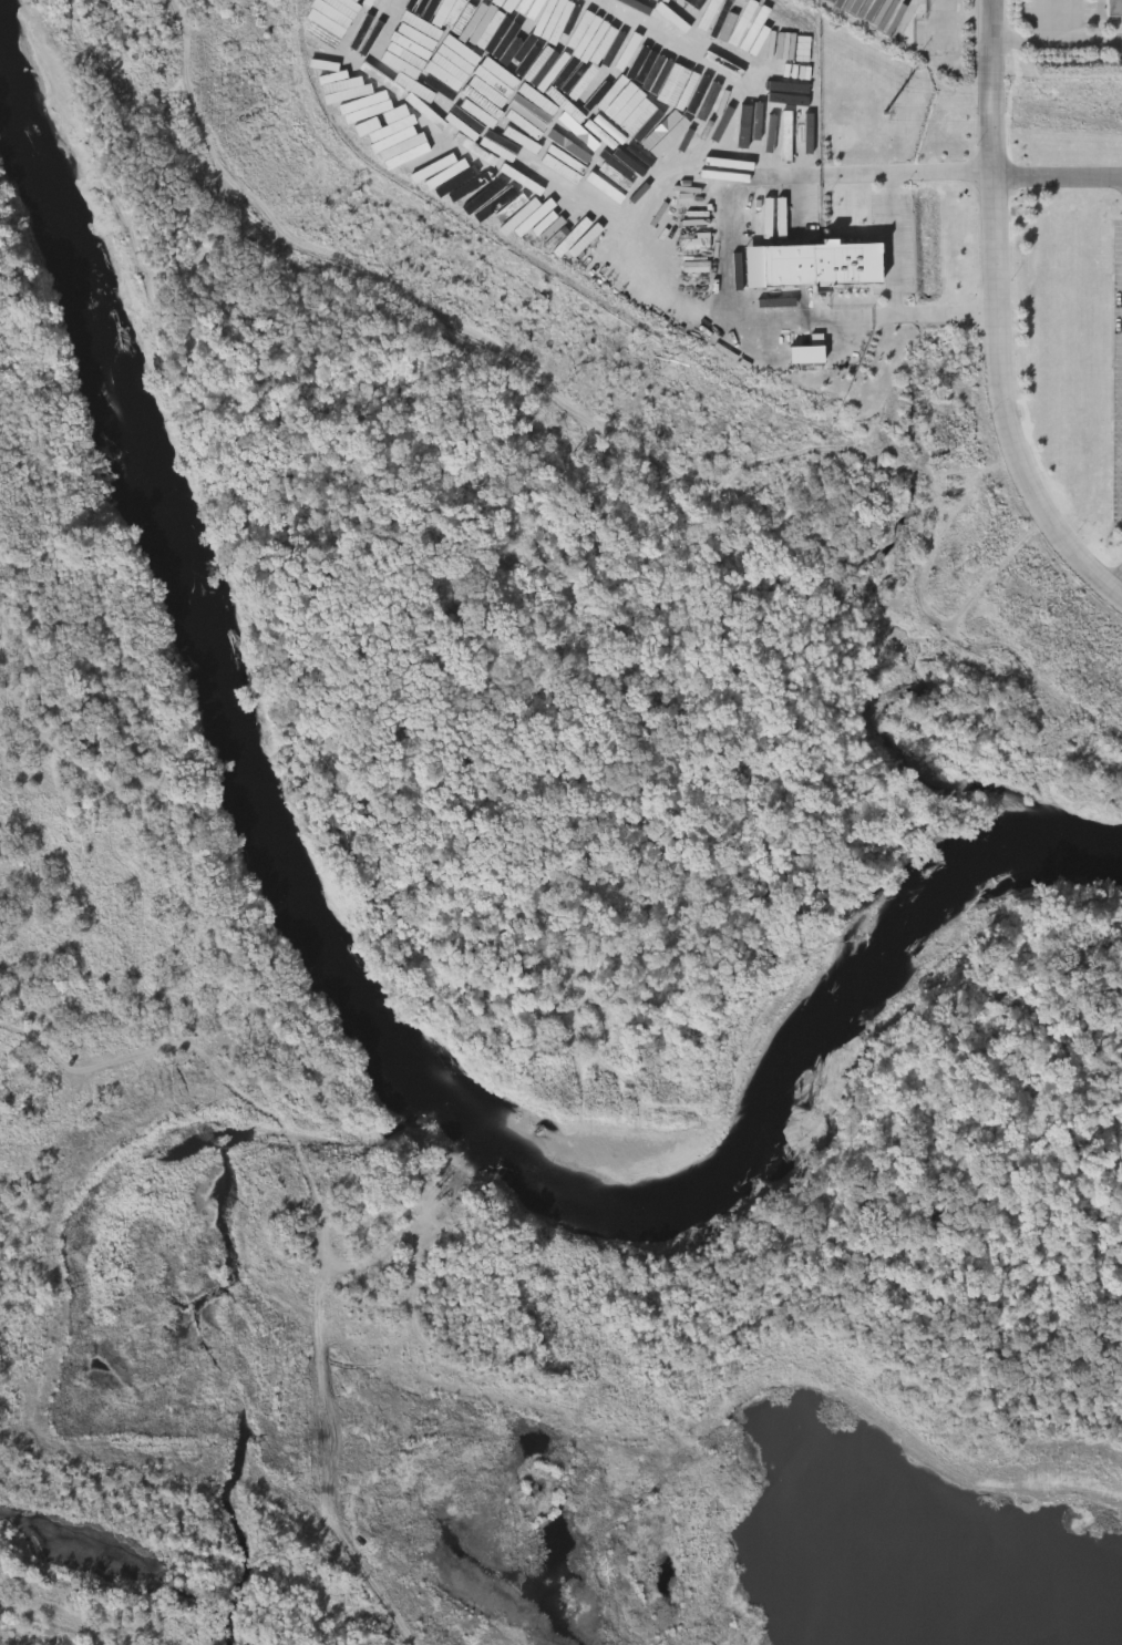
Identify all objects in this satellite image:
building: (1113, 9)
road: (1057, 44)
power tower: (902, 123)
road: (1058, 176)
road: (892, 246)
road: (722, 255)
building: (821, 265)
road: (1002, 320)
building: (813, 356)
road: (1116, 592)
river: (349, 1006)

